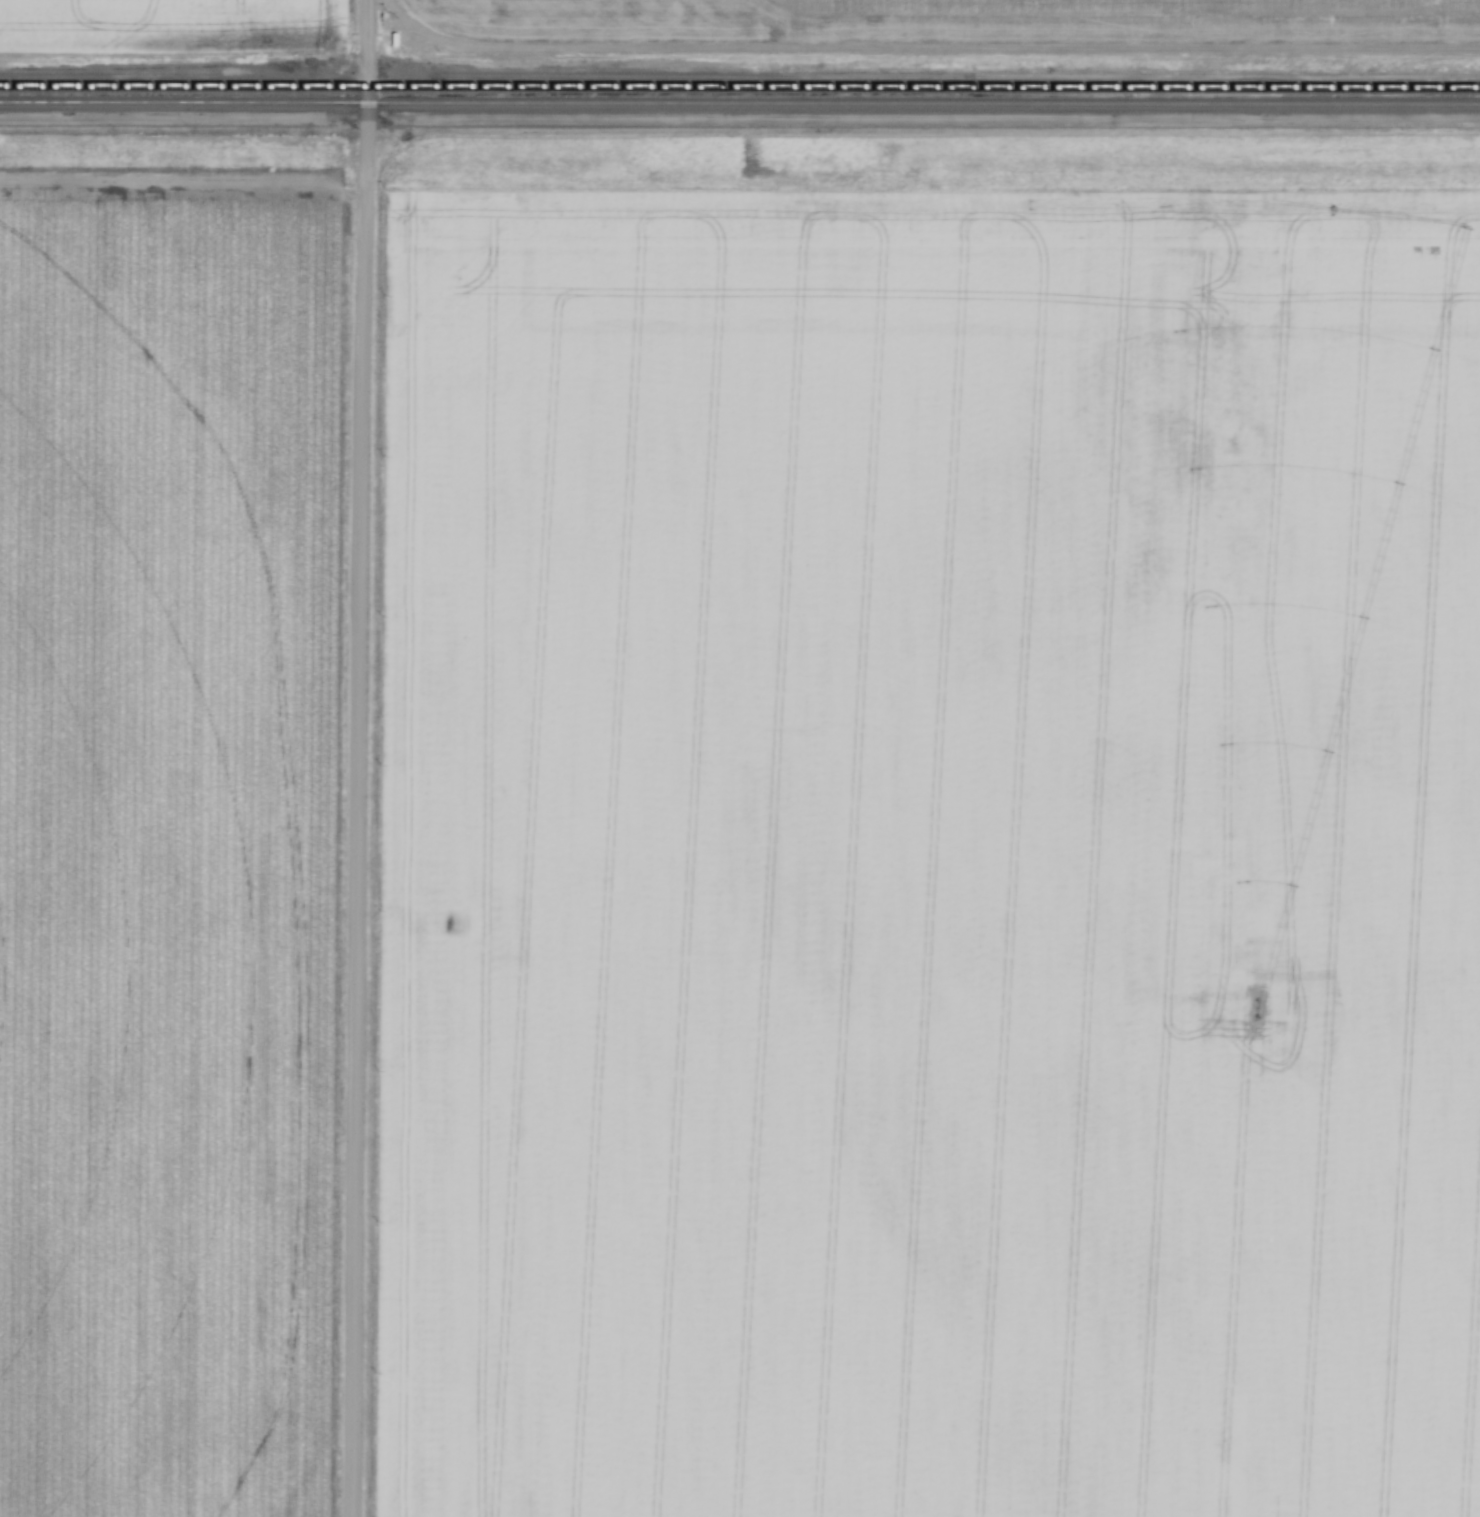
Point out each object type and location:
railway: (740, 84)
railway: (739, 103)
road: (359, 758)

